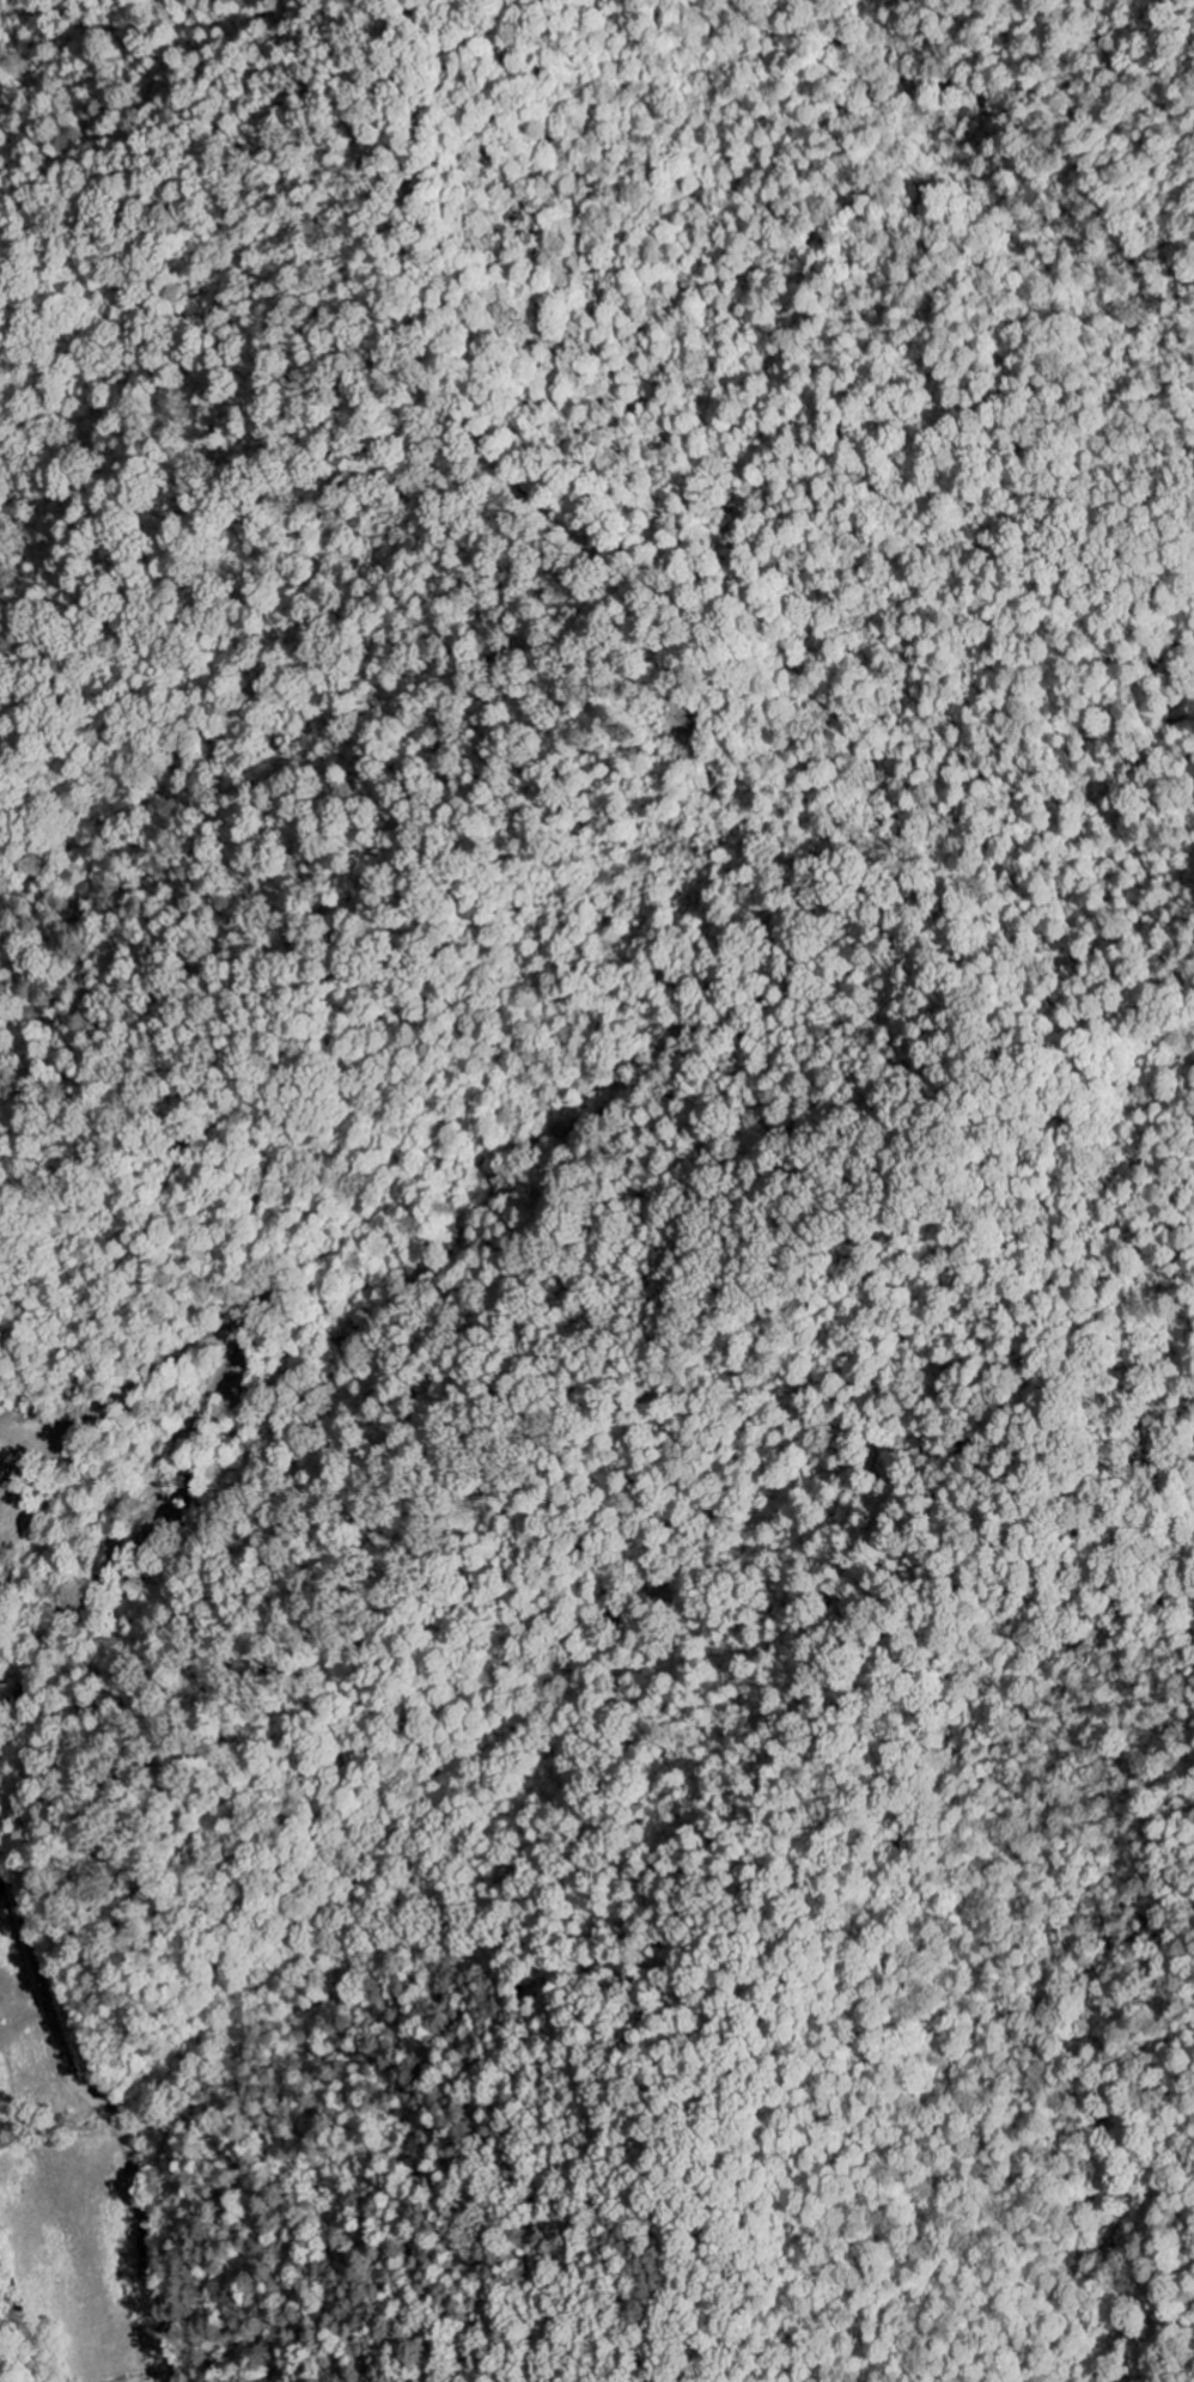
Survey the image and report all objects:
road: (90, 2091)

